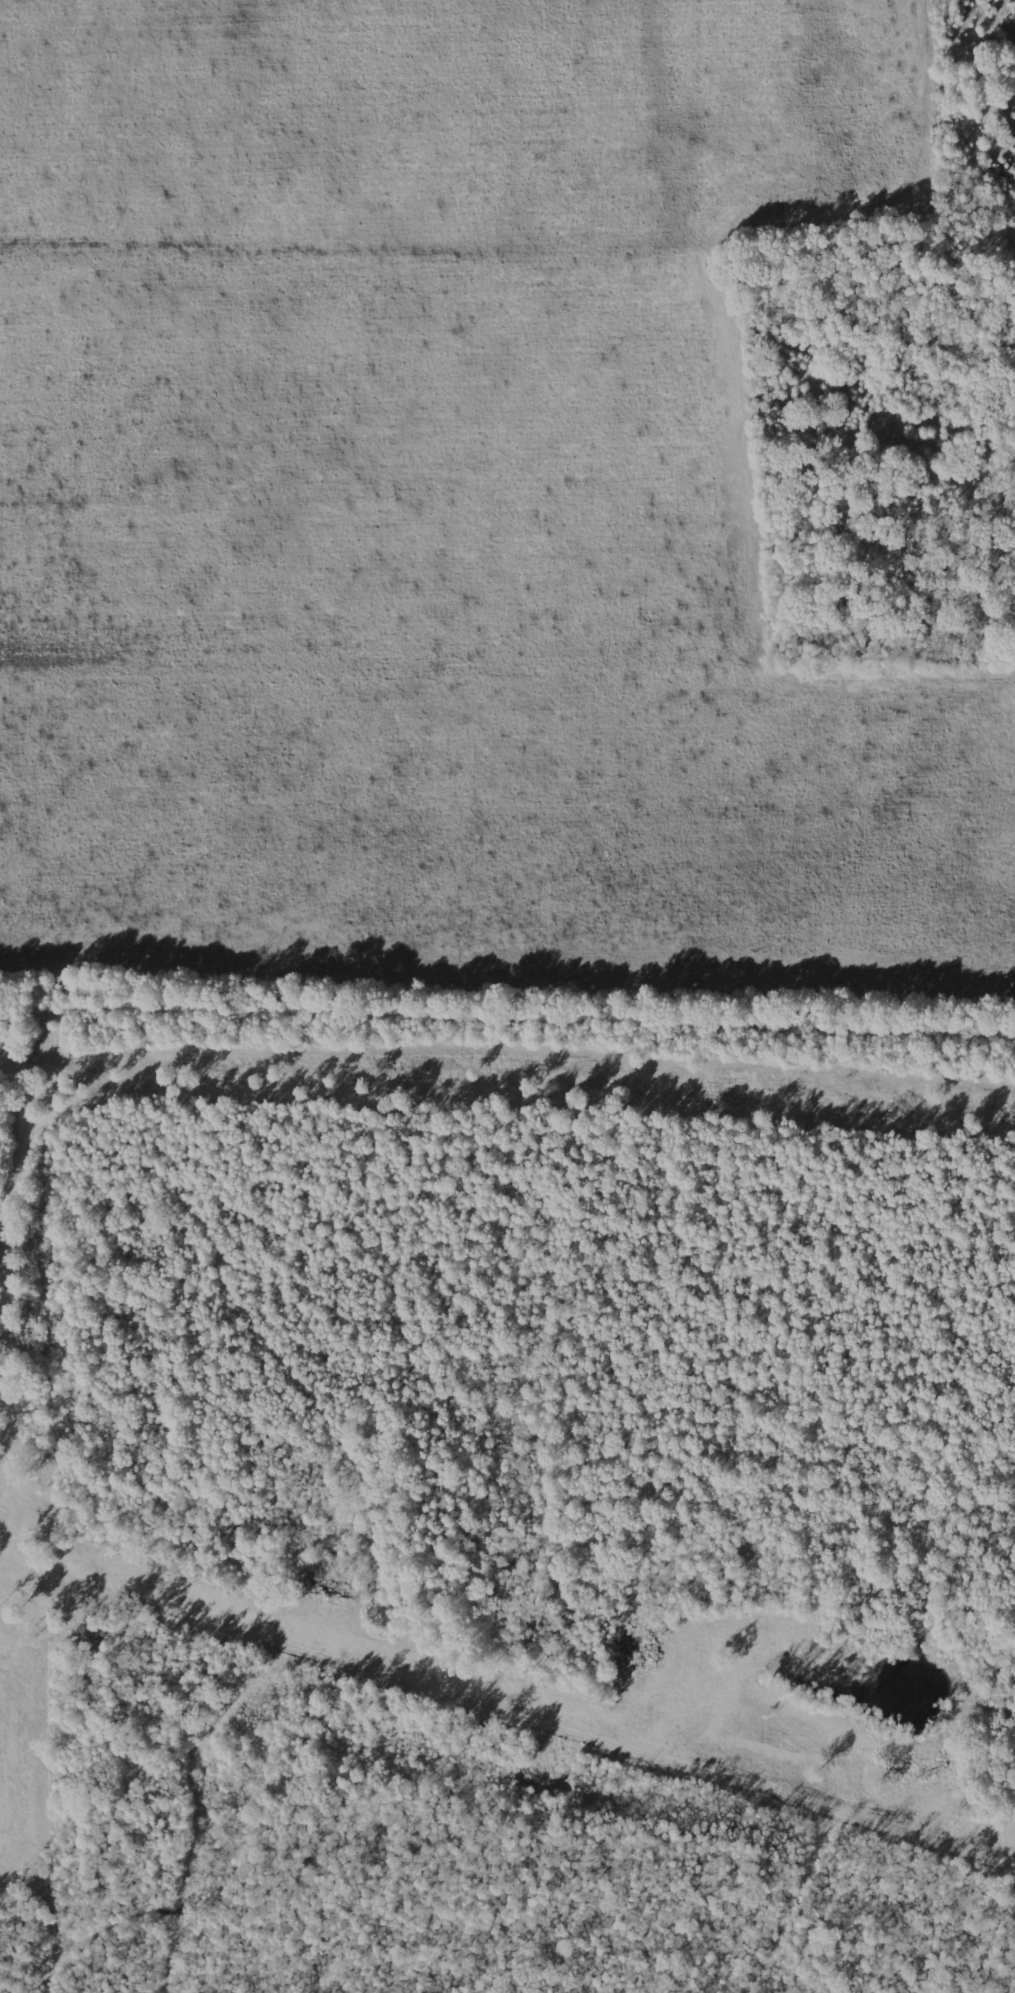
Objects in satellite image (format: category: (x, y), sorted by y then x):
road: (507, 1698)

